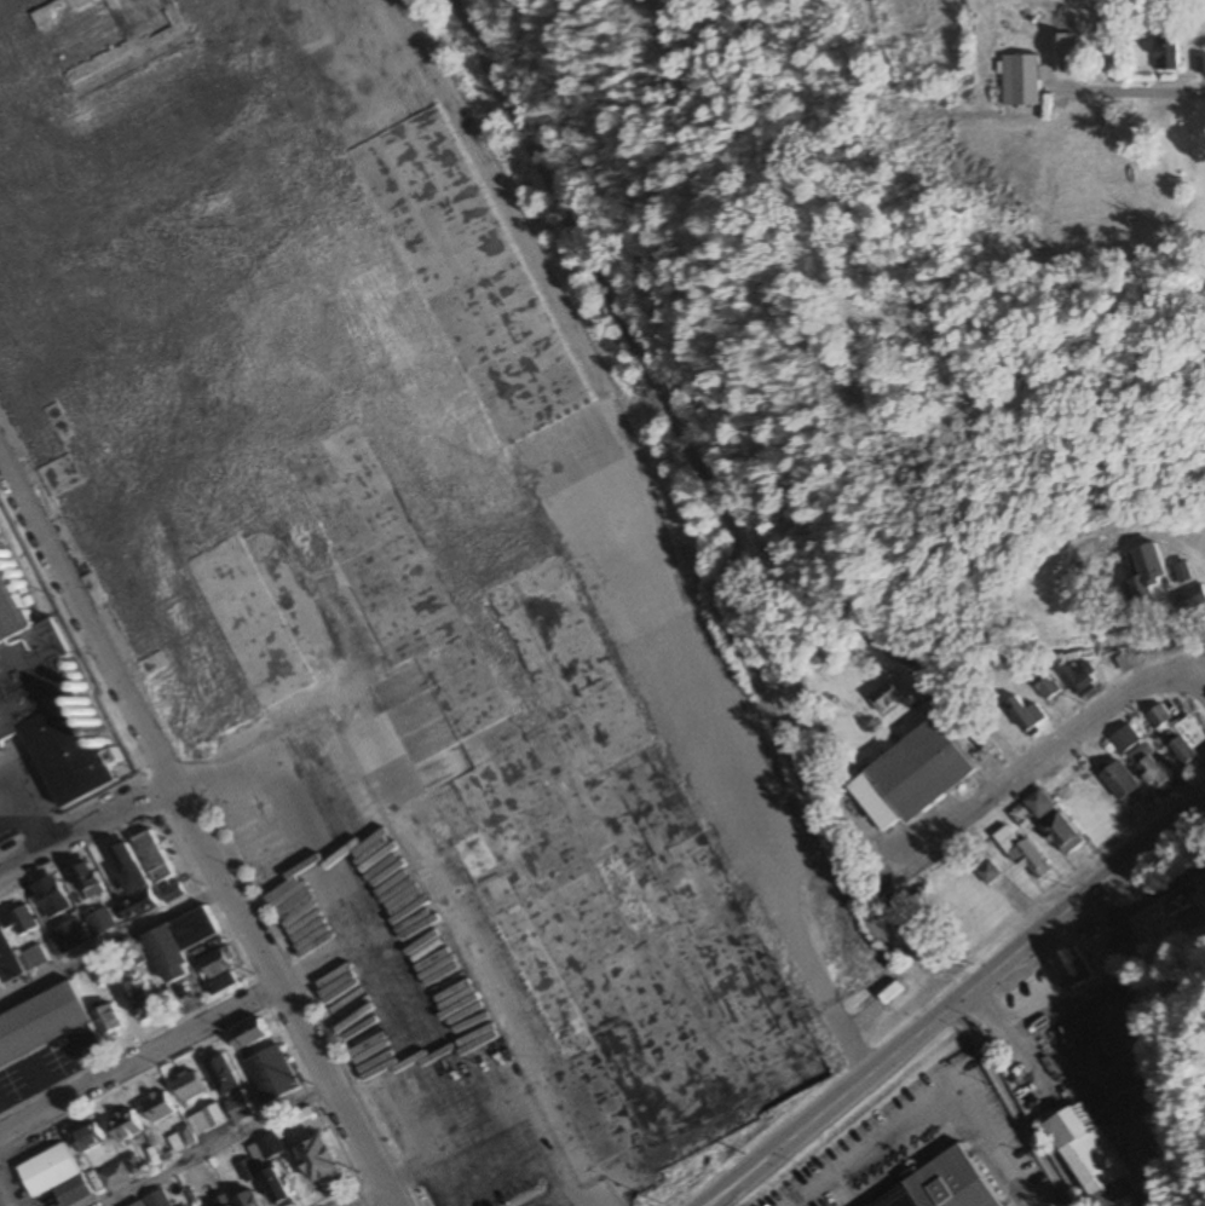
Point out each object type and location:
building: (1065, 21)
building: (1166, 51)
building: (1066, 52)
building: (1203, 64)
building: (1019, 79)
road: (1122, 93)
road: (693, 460)
building: (354, 509)
building: (1146, 575)
building: (1190, 598)
building: (1080, 679)
building: (1045, 686)
building: (888, 694)
building: (48, 708)
building: (1026, 714)
building: (1180, 735)
building: (1125, 740)
road: (1060, 750)
building: (1155, 772)
building: (911, 777)
building: (1120, 784)
building: (1038, 803)
road: (86, 832)
building: (1060, 833)
road: (196, 835)
building: (1024, 854)
building: (157, 867)
building: (85, 881)
building: (129, 884)
building: (48, 898)
road: (1090, 900)
building: (1189, 908)
building: (17, 921)
building: (98, 923)
building: (67, 936)
road: (110, 941)
building: (175, 944)
building: (1125, 953)
building: (31, 958)
road: (926, 960)
building: (215, 963)
building: (6, 964)
building: (1072, 968)
building: (98, 974)
building: (137, 1002)
road: (961, 1004)
road: (936, 1022)
building: (40, 1023)
building: (105, 1023)
building: (243, 1035)
road: (138, 1060)
building: (218, 1075)
building: (269, 1075)
building: (185, 1086)
road: (1015, 1106)
building: (155, 1108)
building: (236, 1108)
road: (820, 1118)
building: (204, 1120)
building: (122, 1127)
building: (86, 1139)
road: (212, 1147)
building: (264, 1149)
building: (1094, 1149)
building: (316, 1164)
building: (244, 1172)
building: (52, 1177)
building: (111, 1177)
building: (947, 1187)
building: (273, 1188)
road: (367, 1198)
building: (244, 1200)
building: (151, 1201)
building: (225, 1205)

